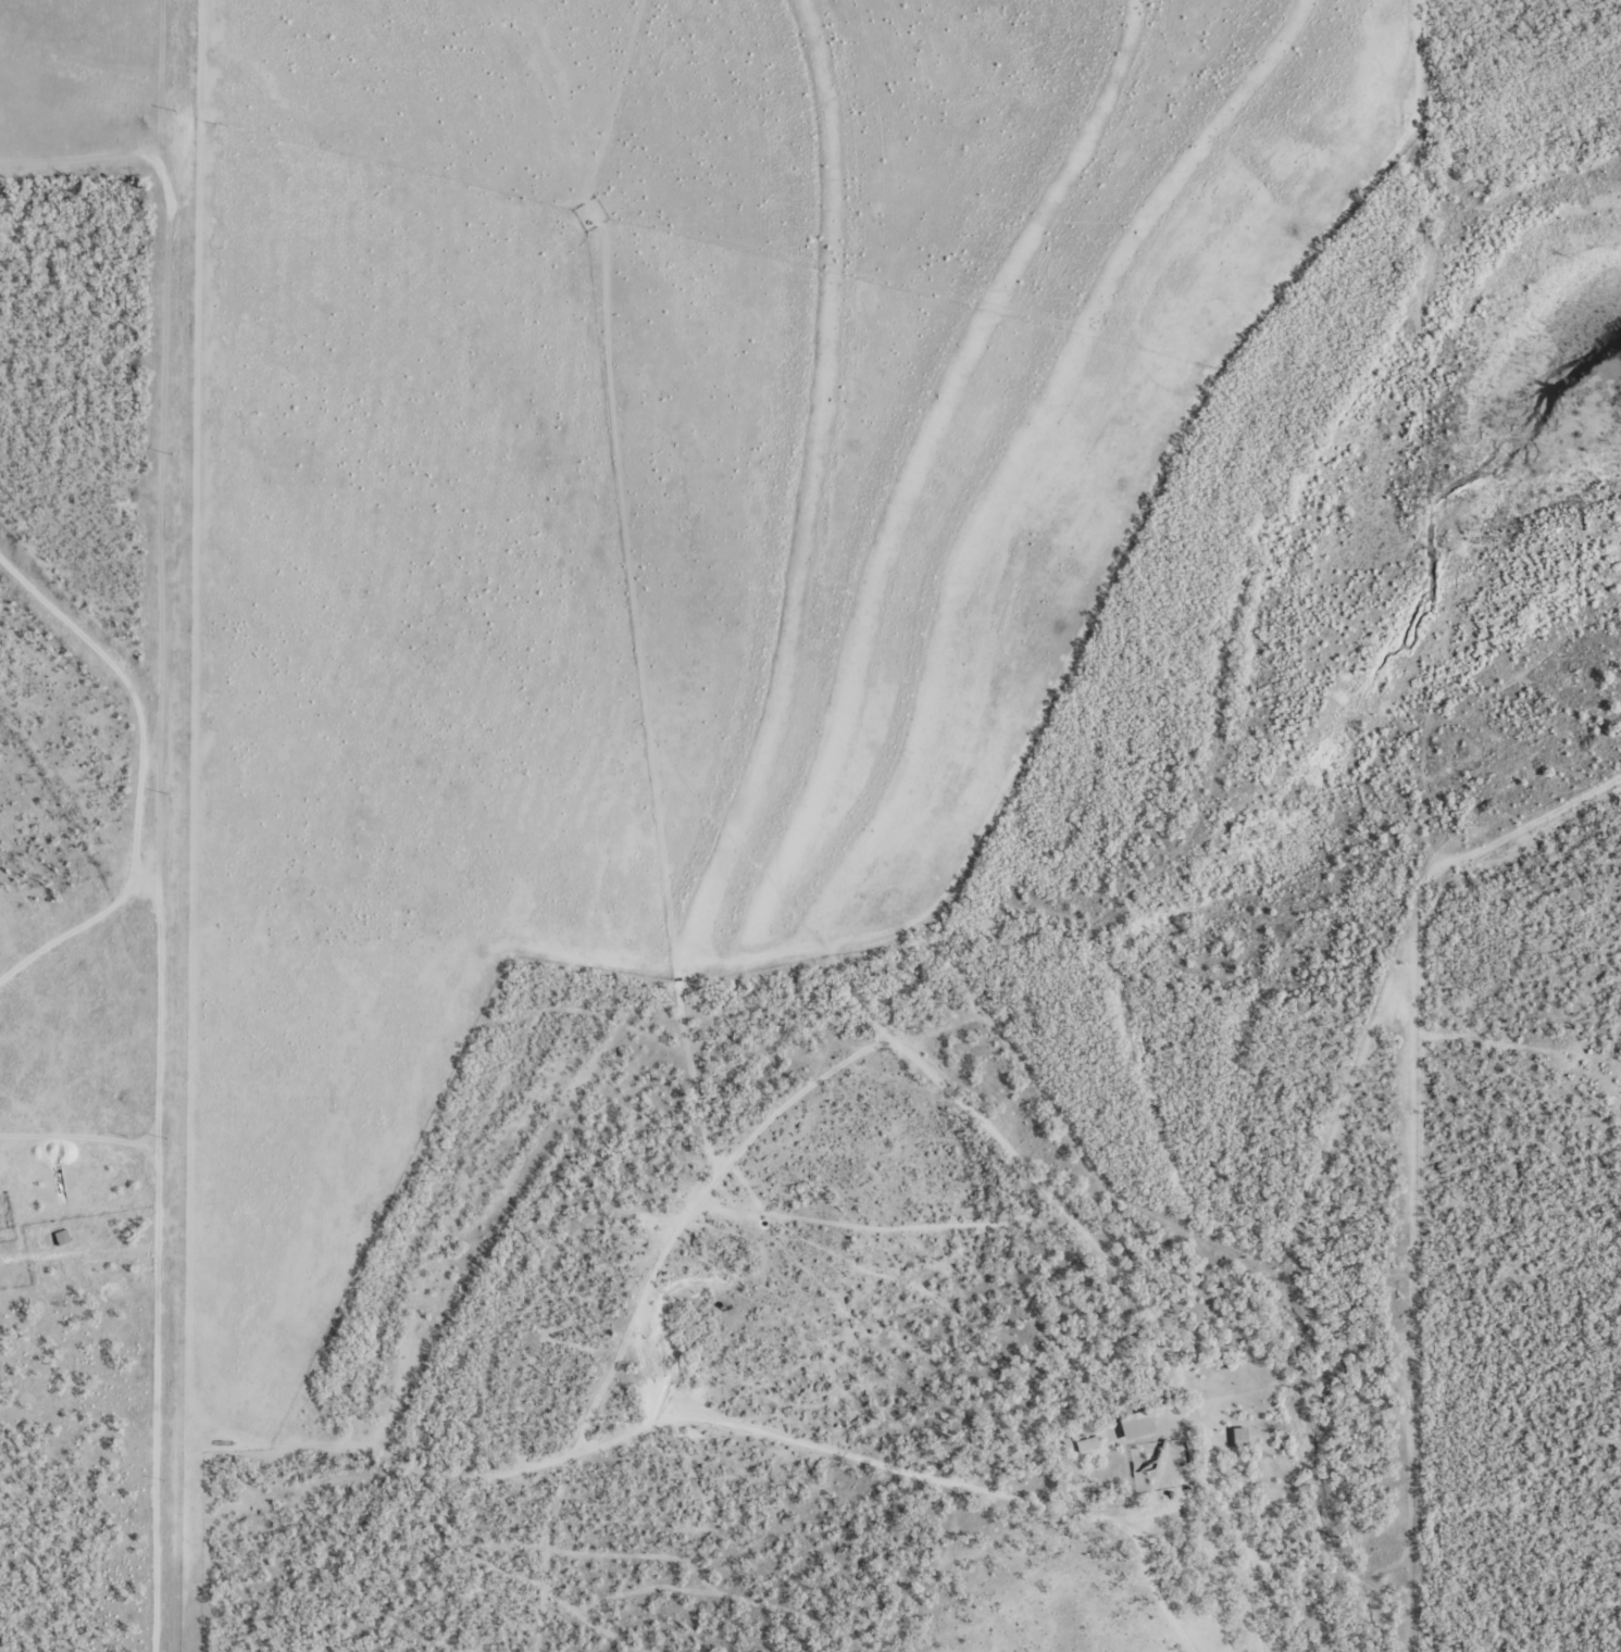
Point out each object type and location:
road: (207, 826)
road: (16, 1234)
building: (1240, 1438)
road: (720, 1482)

